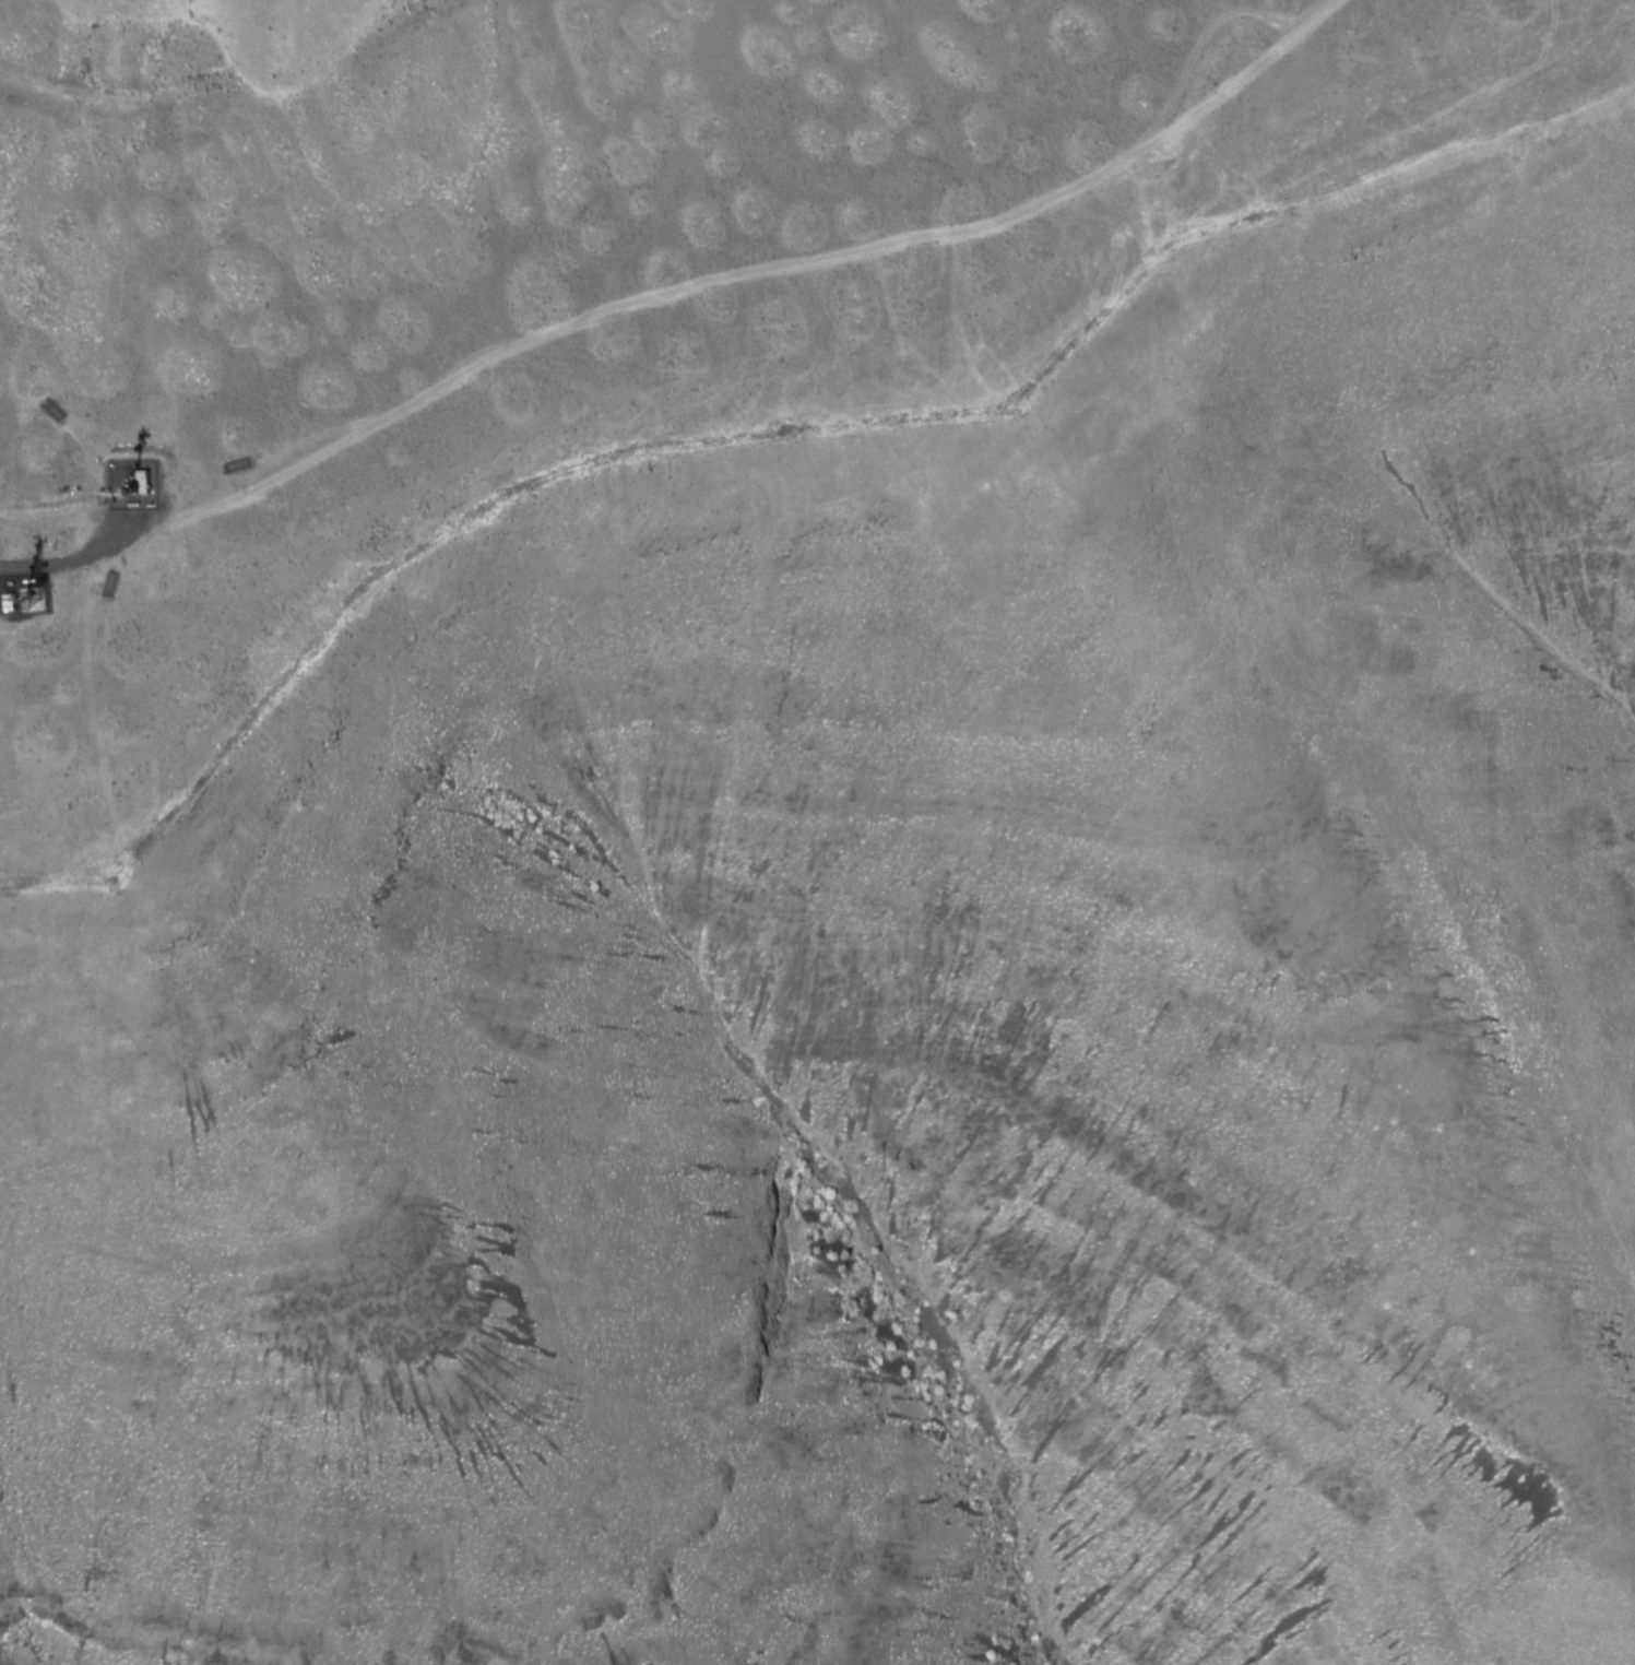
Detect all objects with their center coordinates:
road: (64, 558)

